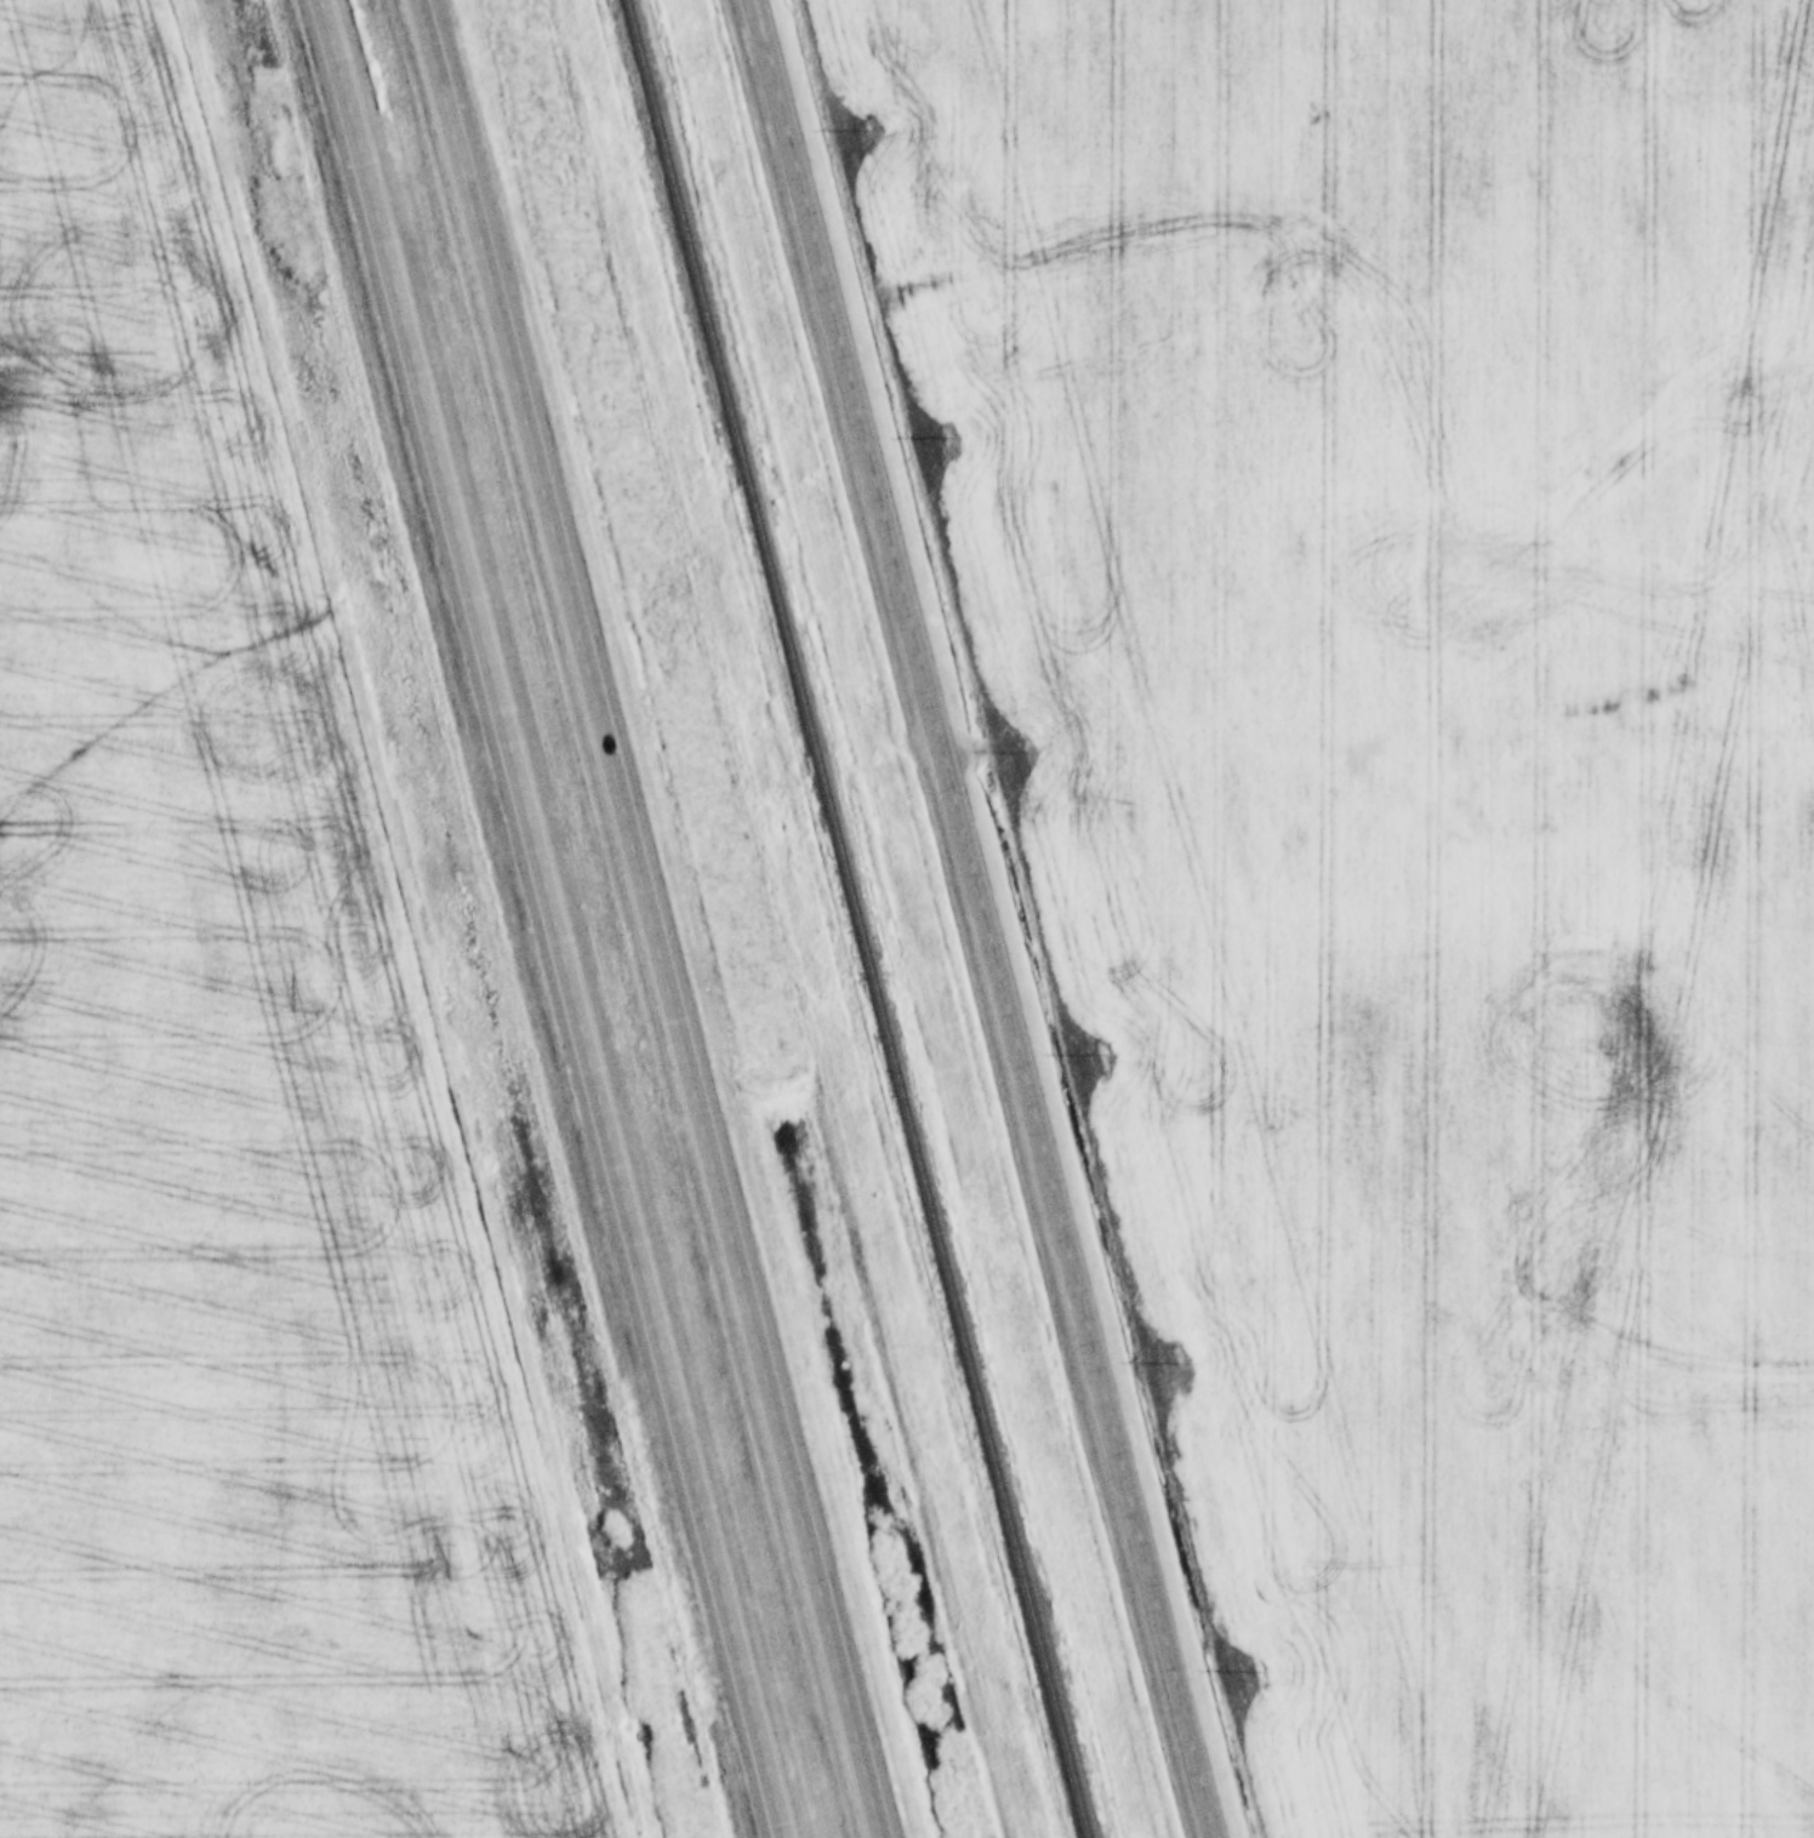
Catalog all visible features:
road: (558, 915)
road: (666, 915)
railway: (850, 919)
road: (989, 919)

